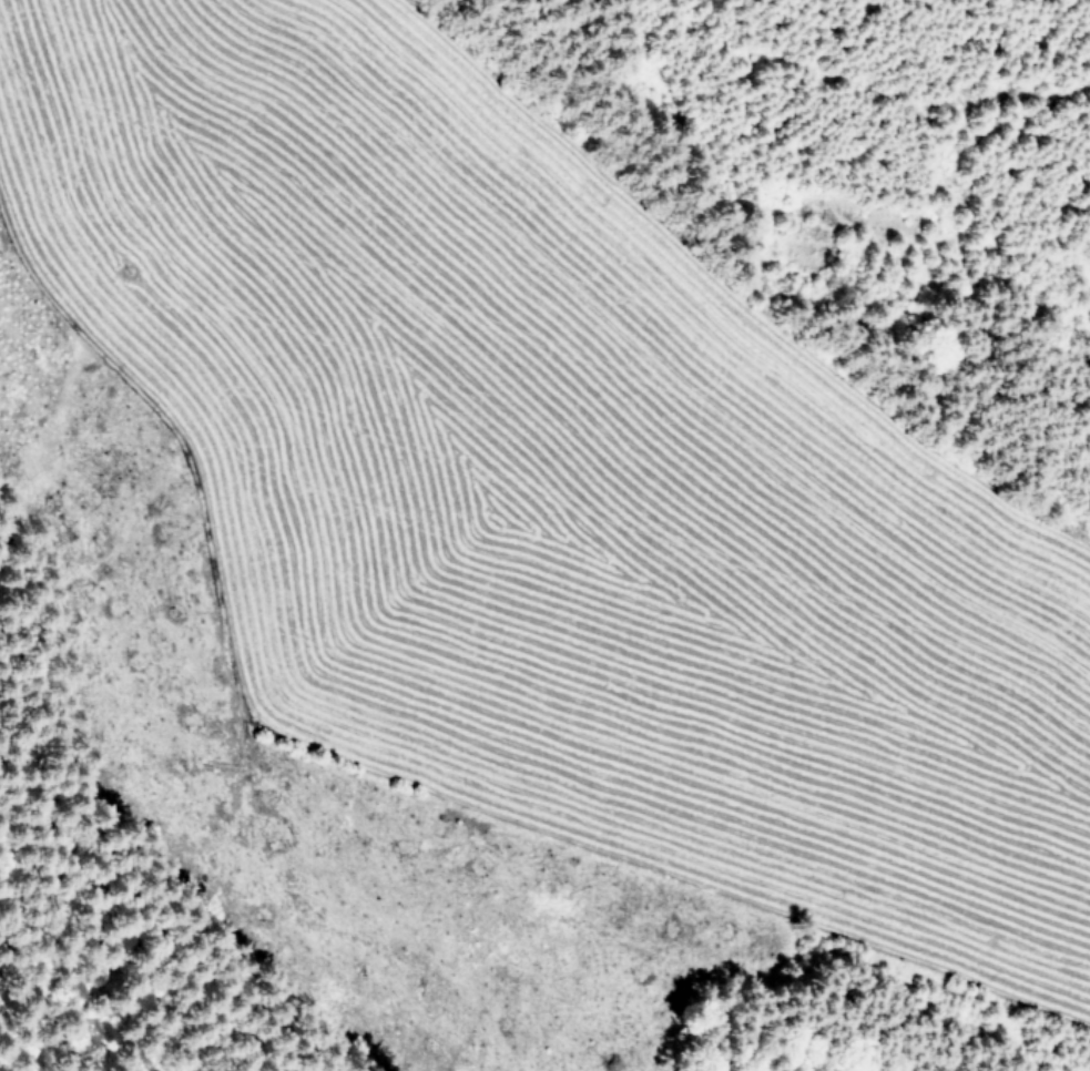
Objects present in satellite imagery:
crop: (533, 465)

